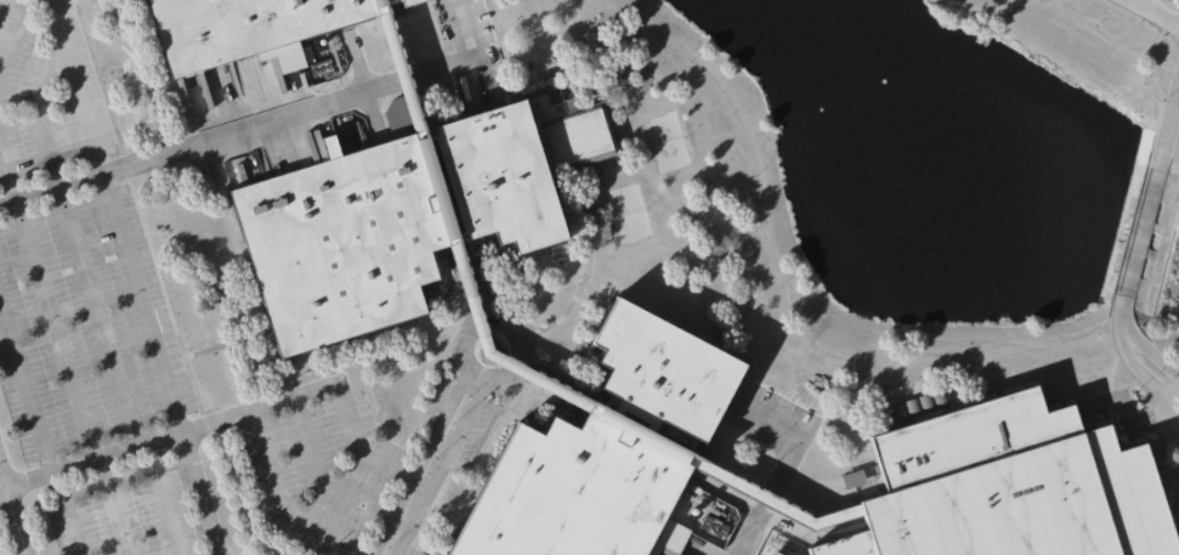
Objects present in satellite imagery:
road: (459, 1)
road: (1150, 15)
building: (242, 27)
road: (15, 28)
road: (1149, 52)
building: (389, 53)
road: (1141, 57)
road: (465, 61)
road: (398, 84)
road: (76, 87)
road: (41, 114)
road: (197, 147)
road: (8, 170)
road: (600, 187)
road: (1146, 206)
building: (401, 216)
road: (754, 221)
road: (85, 272)
road: (476, 278)
road: (45, 285)
road: (143, 302)
road: (784, 323)
road: (460, 355)
road: (962, 355)
road: (1147, 355)
road: (965, 358)
road: (759, 362)
road: (1132, 368)
road: (1126, 375)
road: (967, 379)
road: (561, 386)
road: (318, 391)
road: (1161, 408)
building: (601, 454)
road: (419, 465)
road: (78, 466)
road: (786, 466)
road: (443, 470)
road: (321, 476)
building: (854, 478)
building: (997, 486)
road: (279, 504)
road: (160, 515)
road: (144, 534)
road: (23, 542)

